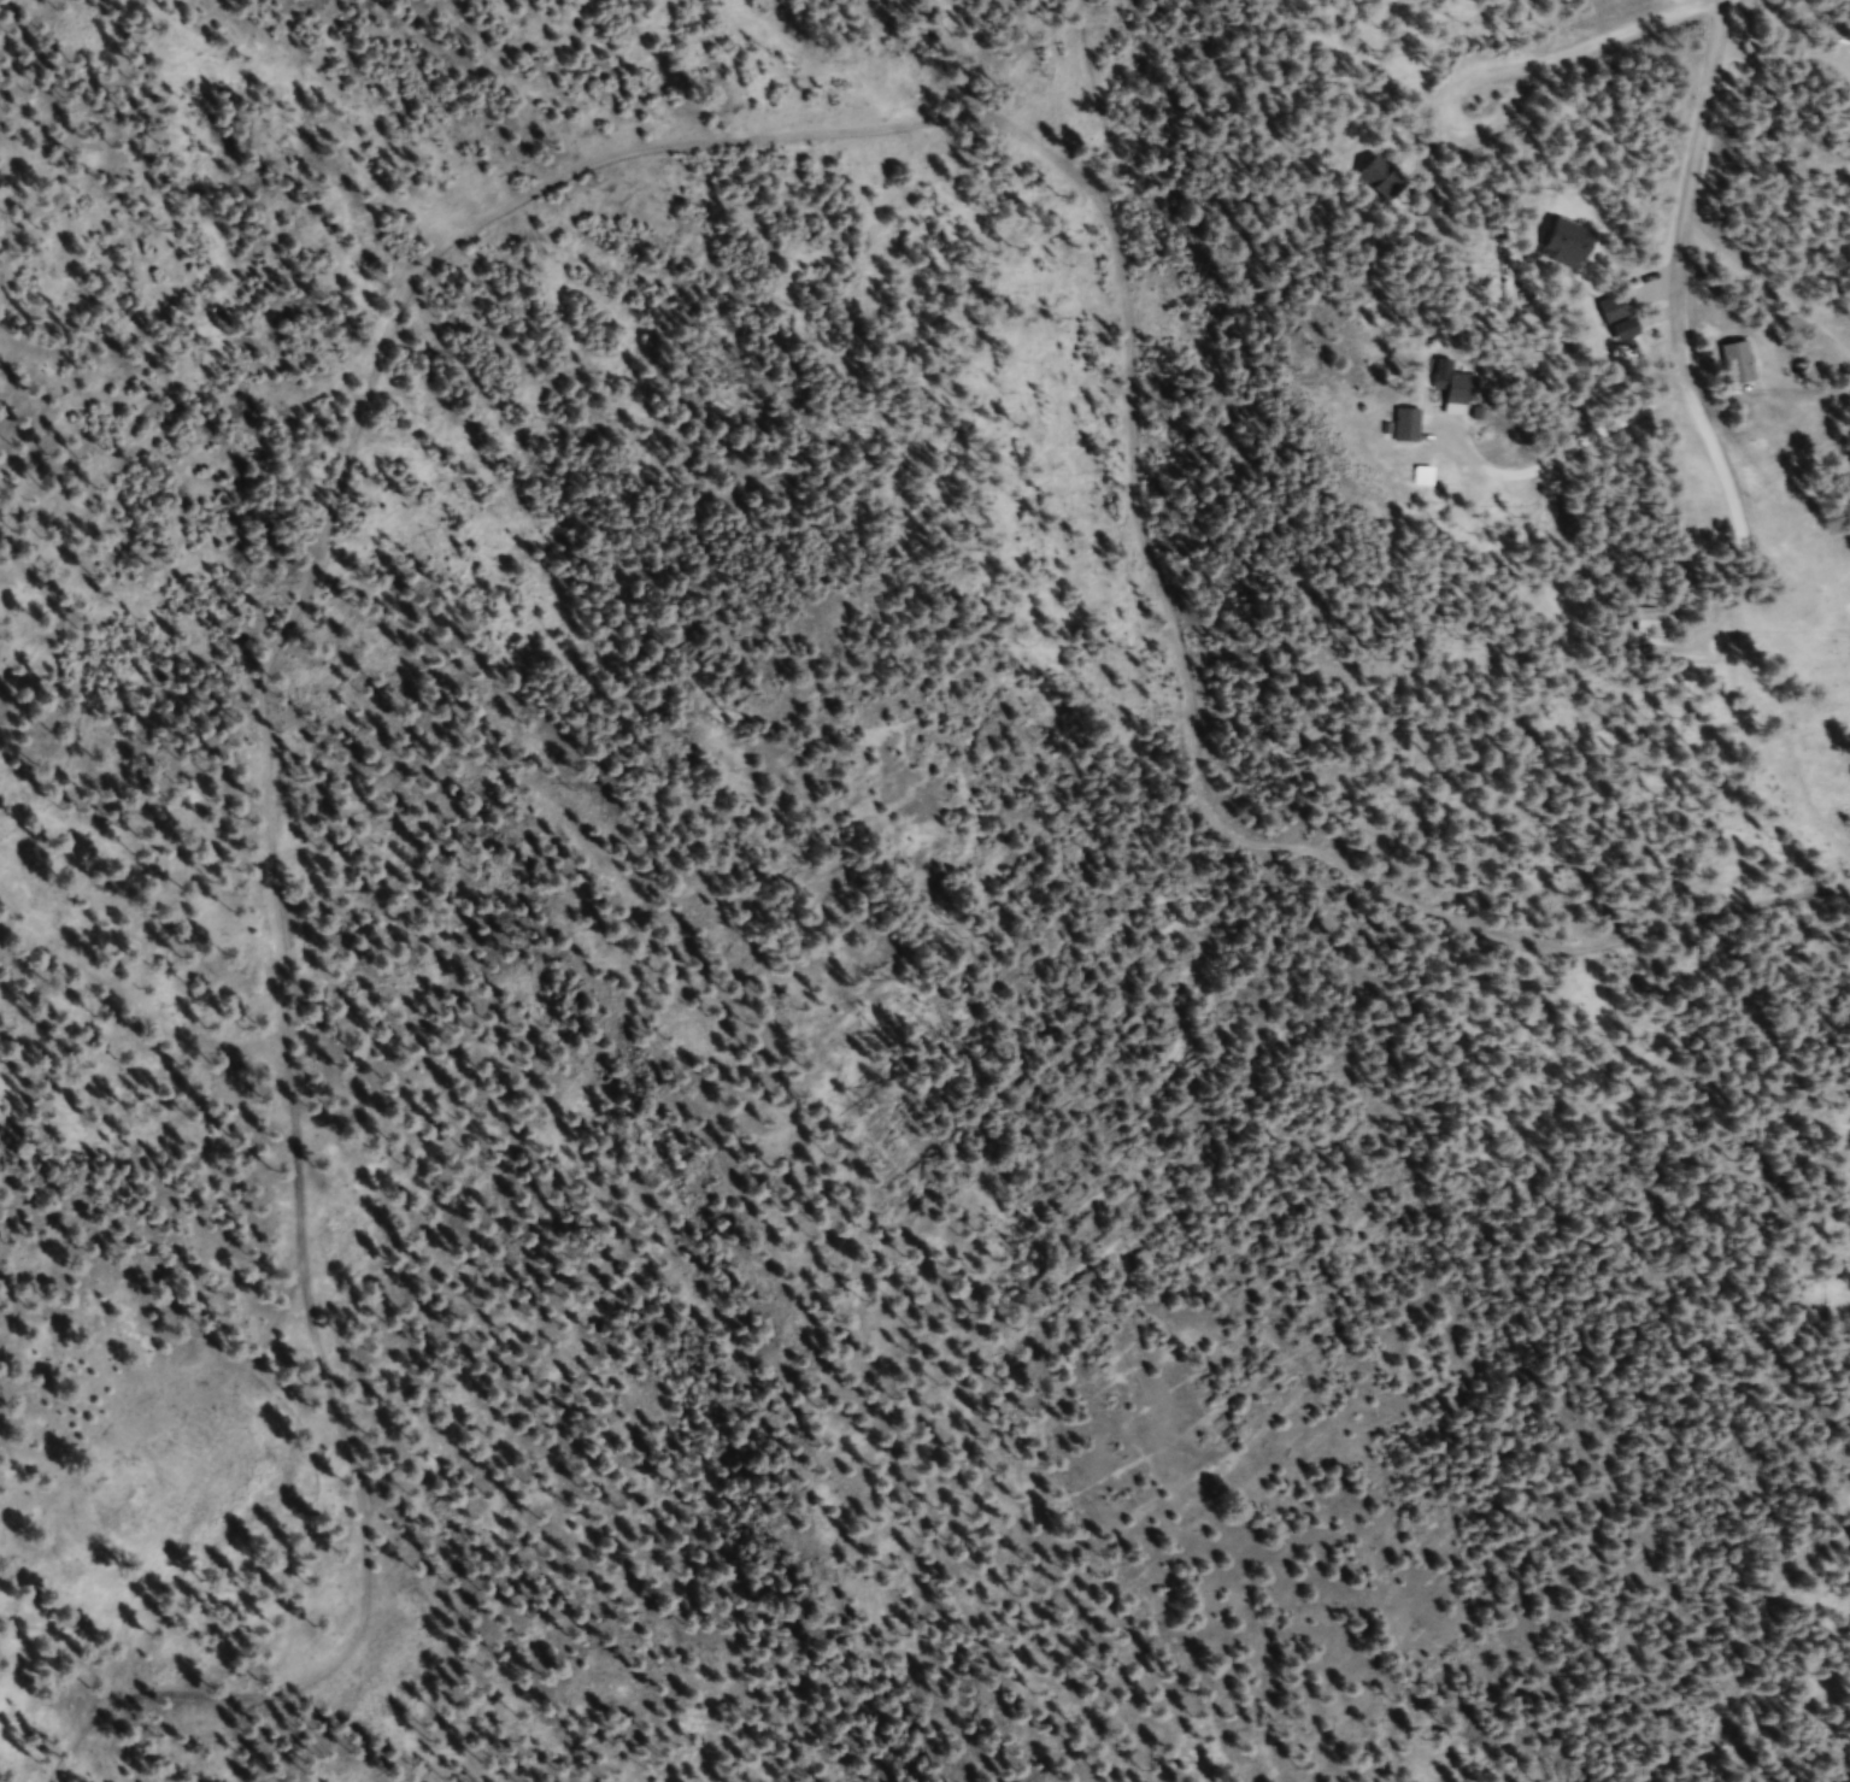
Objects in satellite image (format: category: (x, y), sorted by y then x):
road: (1627, 40)
building: (1375, 178)
road: (524, 189)
building: (1429, 206)
building: (1563, 245)
road: (1675, 304)
building: (1615, 313)
building: (1736, 366)
building: (1451, 387)
building: (1408, 429)
building: (1423, 480)
building: (1651, 624)
road: (1754, 1641)

